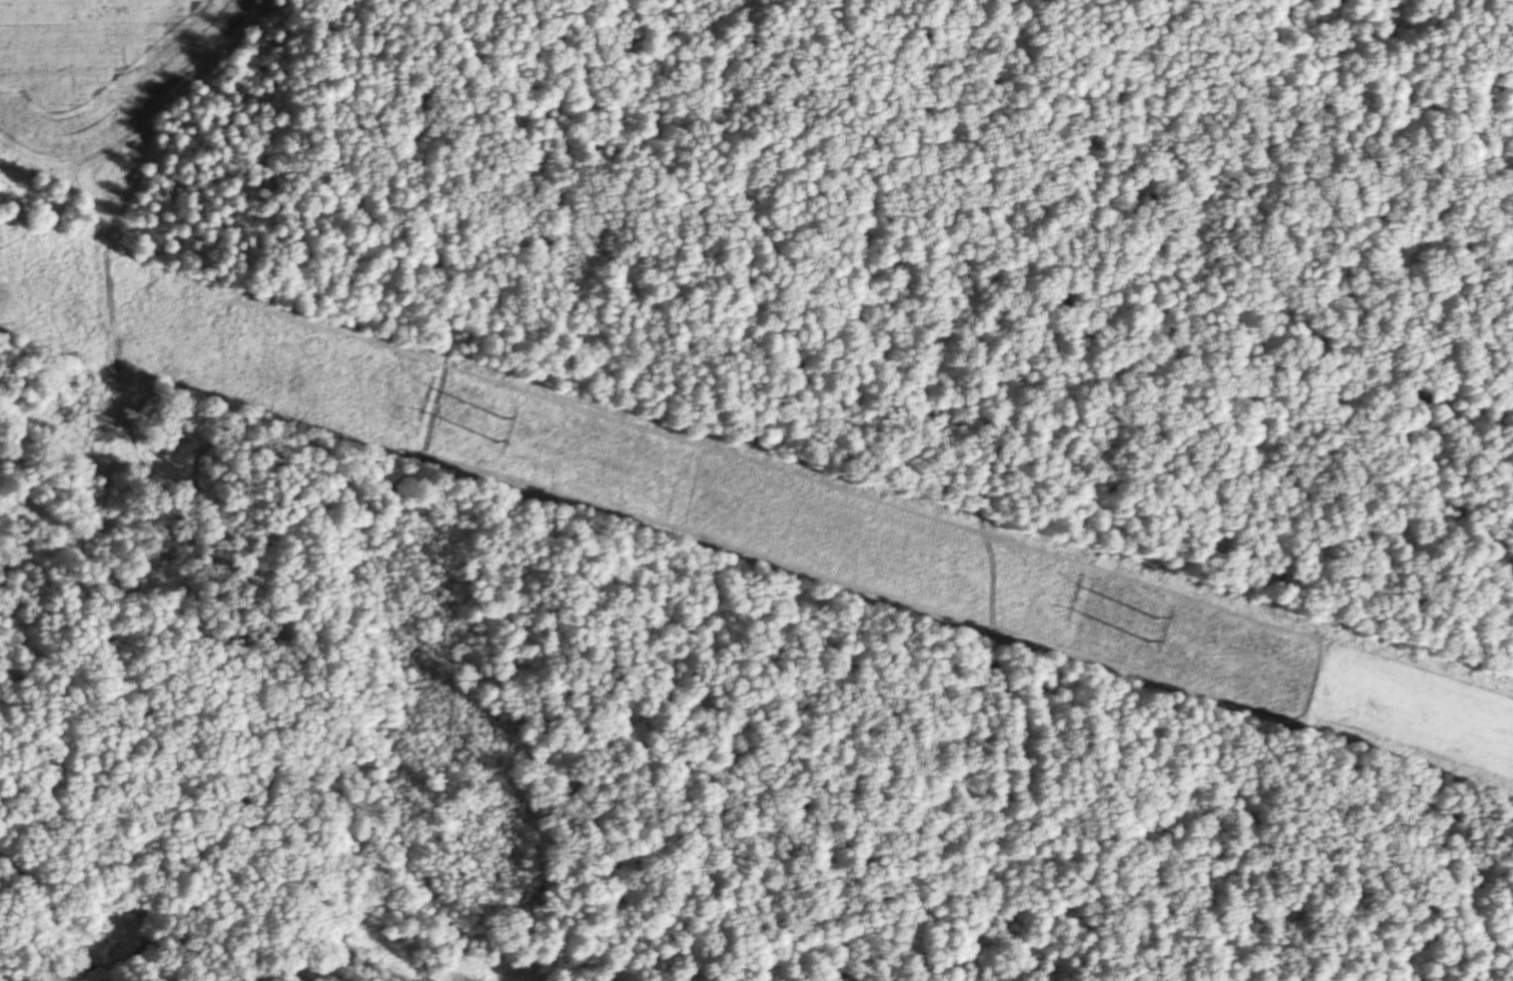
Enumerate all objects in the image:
power tower: (503, 428)
power tower: (1157, 626)

